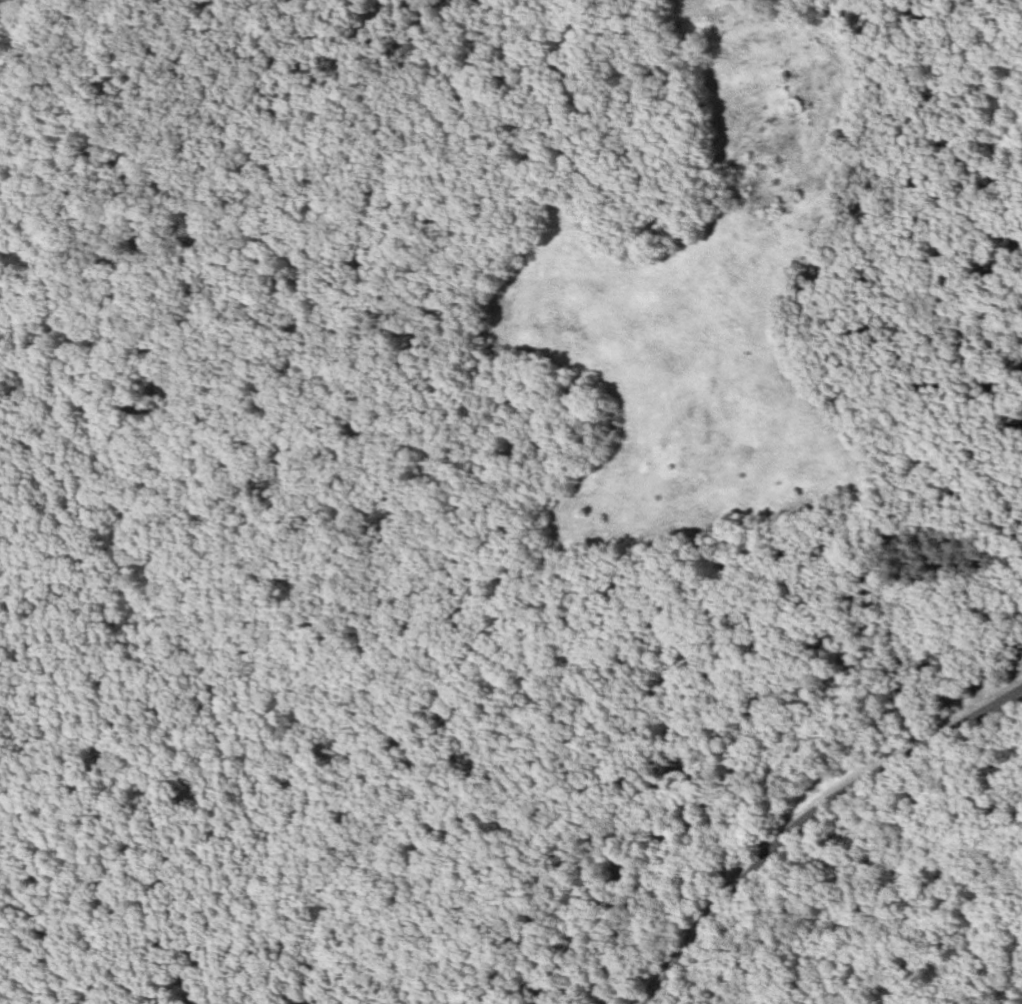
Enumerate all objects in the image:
road: (814, 824)

